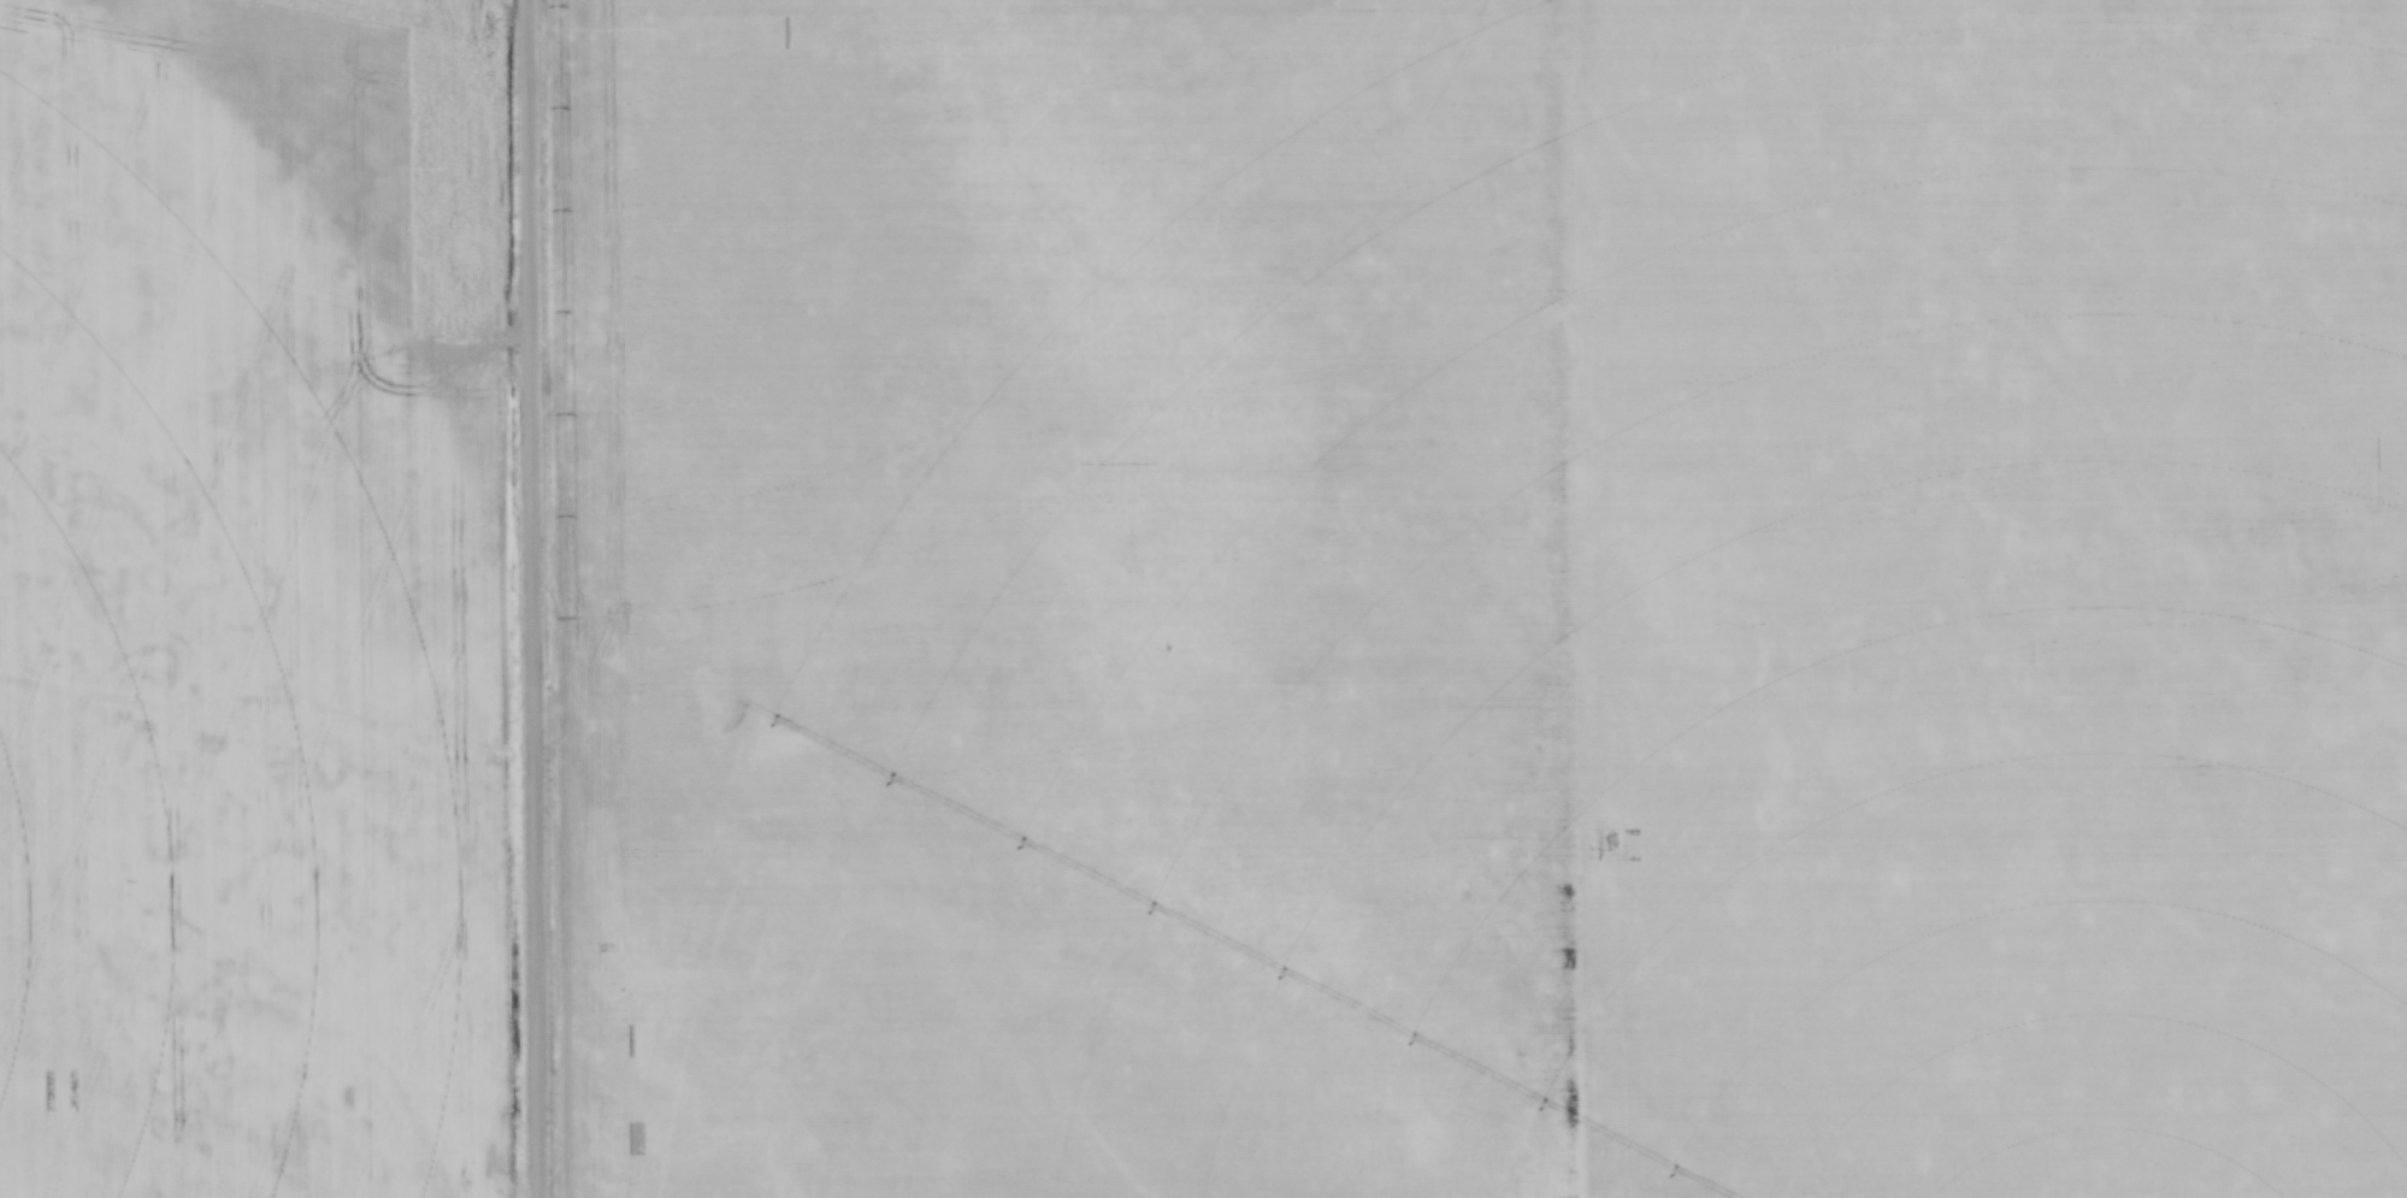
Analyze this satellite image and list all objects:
road: (526, 598)

